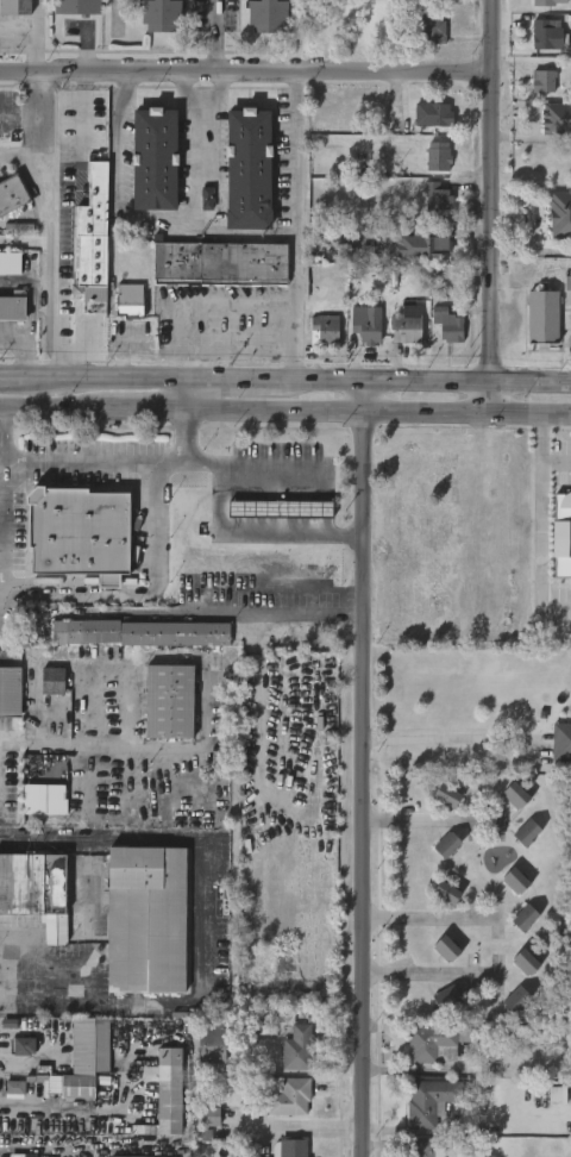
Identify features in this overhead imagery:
building: (545, 1)
building: (77, 6)
building: (13, 7)
building: (161, 15)
building: (268, 15)
building: (431, 27)
road: (32, 35)
road: (213, 35)
building: (546, 36)
road: (244, 70)
building: (544, 80)
road: (83, 81)
road: (181, 89)
road: (15, 112)
building: (434, 113)
building: (557, 118)
road: (30, 125)
road: (81, 129)
road: (115, 135)
building: (437, 156)
building: (155, 160)
road: (40, 161)
building: (249, 171)
road: (196, 174)
building: (10, 194)
building: (434, 196)
building: (207, 198)
road: (491, 206)
building: (560, 213)
road: (52, 225)
road: (294, 226)
building: (93, 234)
building: (418, 244)
building: (10, 263)
building: (220, 263)
building: (566, 290)
road: (30, 296)
building: (127, 301)
building: (11, 307)
road: (40, 314)
building: (540, 317)
building: (406, 325)
building: (447, 325)
building: (364, 330)
building: (324, 331)
road: (14, 334)
road: (221, 339)
road: (29, 357)
road: (7, 379)
road: (293, 382)
road: (186, 395)
road: (58, 408)
road: (151, 409)
road: (378, 412)
building: (561, 458)
road: (92, 461)
road: (269, 475)
building: (280, 507)
road: (539, 525)
building: (77, 530)
road: (214, 531)
building: (561, 534)
road: (48, 596)
road: (1, 599)
road: (270, 619)
building: (136, 632)
road: (6, 658)
building: (50, 680)
building: (11, 693)
building: (169, 701)
road: (256, 701)
road: (450, 739)
building: (561, 742)
road: (61, 745)
road: (364, 769)
building: (516, 795)
building: (447, 796)
building: (44, 799)
road: (419, 817)
building: (527, 832)
road: (46, 842)
building: (447, 844)
building: (515, 881)
building: (37, 892)
building: (446, 894)
road: (428, 914)
building: (525, 918)
building: (146, 920)
building: (446, 949)
building: (526, 962)
road: (432, 970)
road: (202, 974)
building: (447, 999)
building: (516, 999)
building: (213, 1042)
building: (438, 1042)
building: (24, 1046)
building: (295, 1049)
building: (84, 1057)
building: (14, 1087)
building: (167, 1094)
building: (288, 1094)
building: (557, 1095)
building: (429, 1101)
road: (69, 1112)
building: (211, 1117)
building: (288, 1146)
building: (422, 1149)
building: (23, 1153)
building: (143, 1156)

